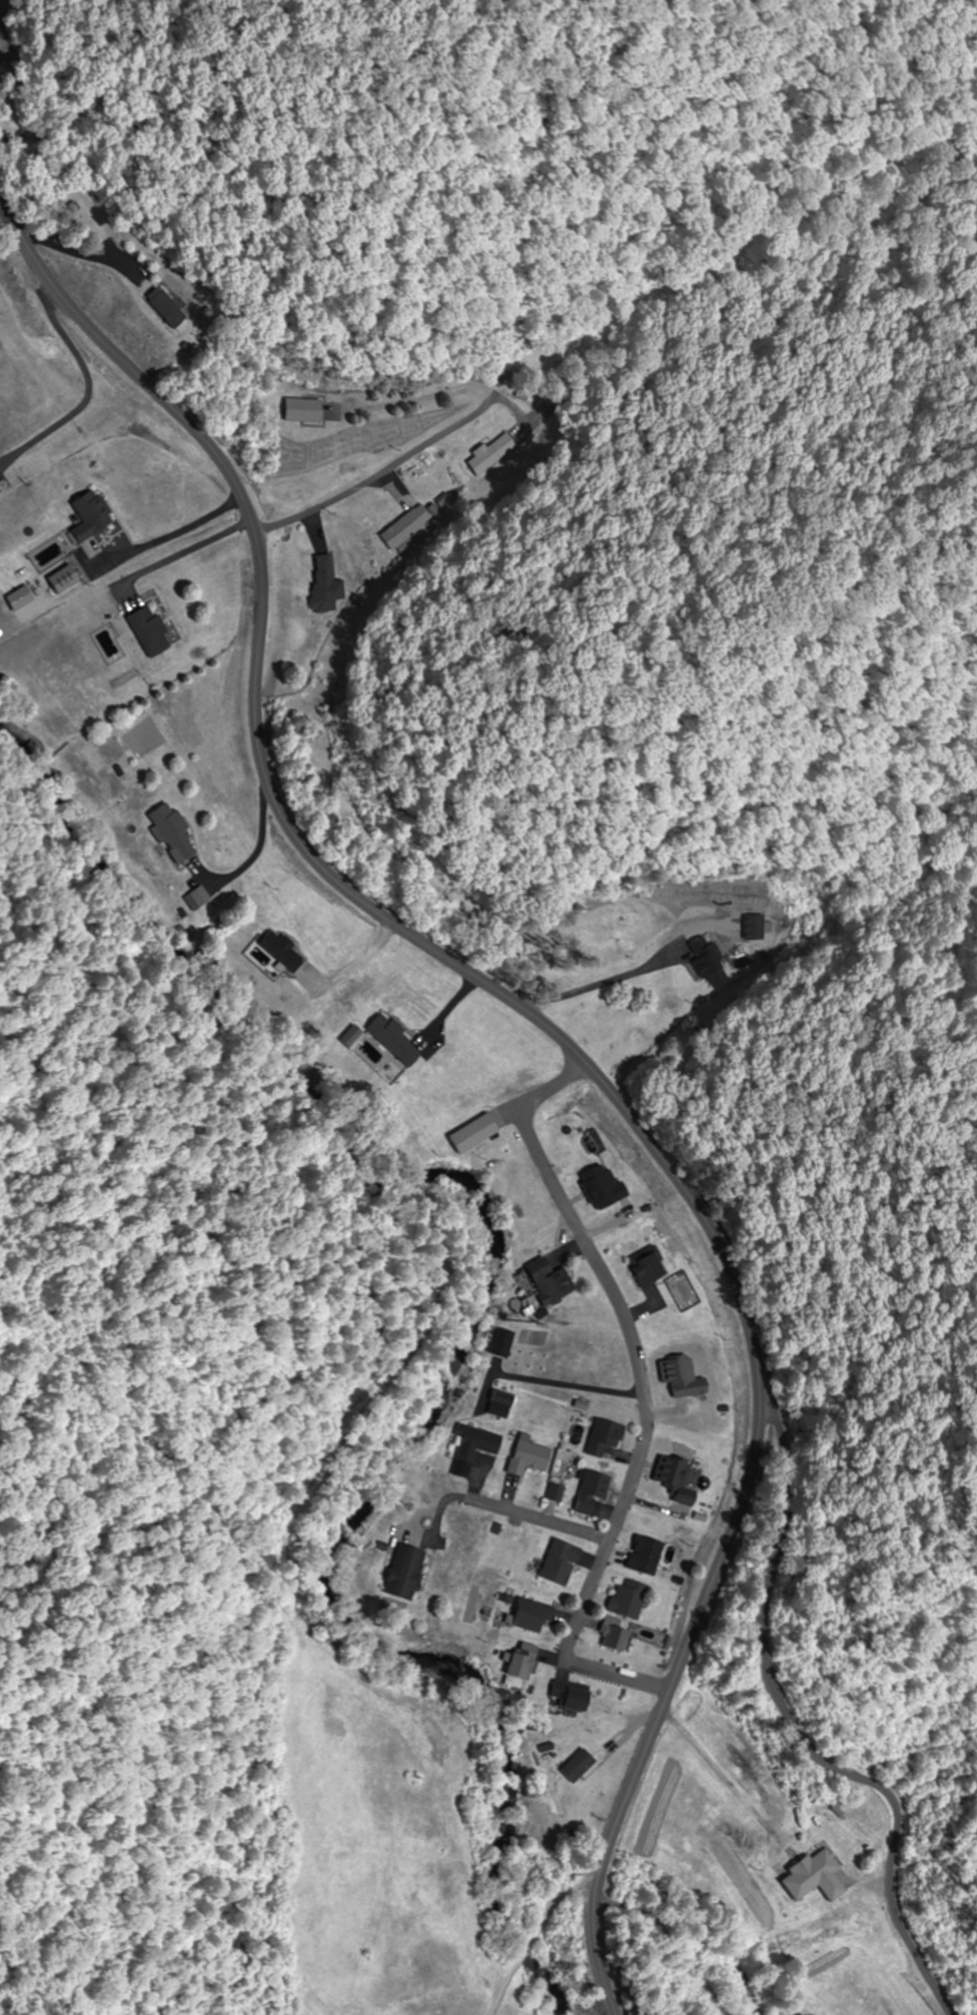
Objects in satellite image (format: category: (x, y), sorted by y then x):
building: (166, 312)
building: (296, 410)
building: (495, 456)
road: (381, 474)
building: (88, 515)
building: (410, 526)
building: (326, 585)
building: (148, 633)
building: (170, 834)
building: (198, 896)
building: (752, 928)
road: (773, 942)
building: (280, 952)
building: (700, 957)
building: (391, 1039)
road: (560, 1039)
building: (468, 1135)
building: (643, 1268)
building: (546, 1281)
road: (671, 1372)
building: (679, 1377)
building: (601, 1437)
building: (473, 1443)
road: (568, 1450)
building: (525, 1458)
road: (635, 1466)
building: (672, 1479)
building: (589, 1491)
building: (553, 1493)
building: (643, 1556)
building: (556, 1562)
building: (403, 1572)
building: (626, 1599)
building: (529, 1615)
building: (612, 1638)
building: (517, 1664)
building: (566, 1697)
road: (786, 1723)
building: (571, 1756)
building: (806, 1873)
road: (637, 1885)
road: (775, 1948)

